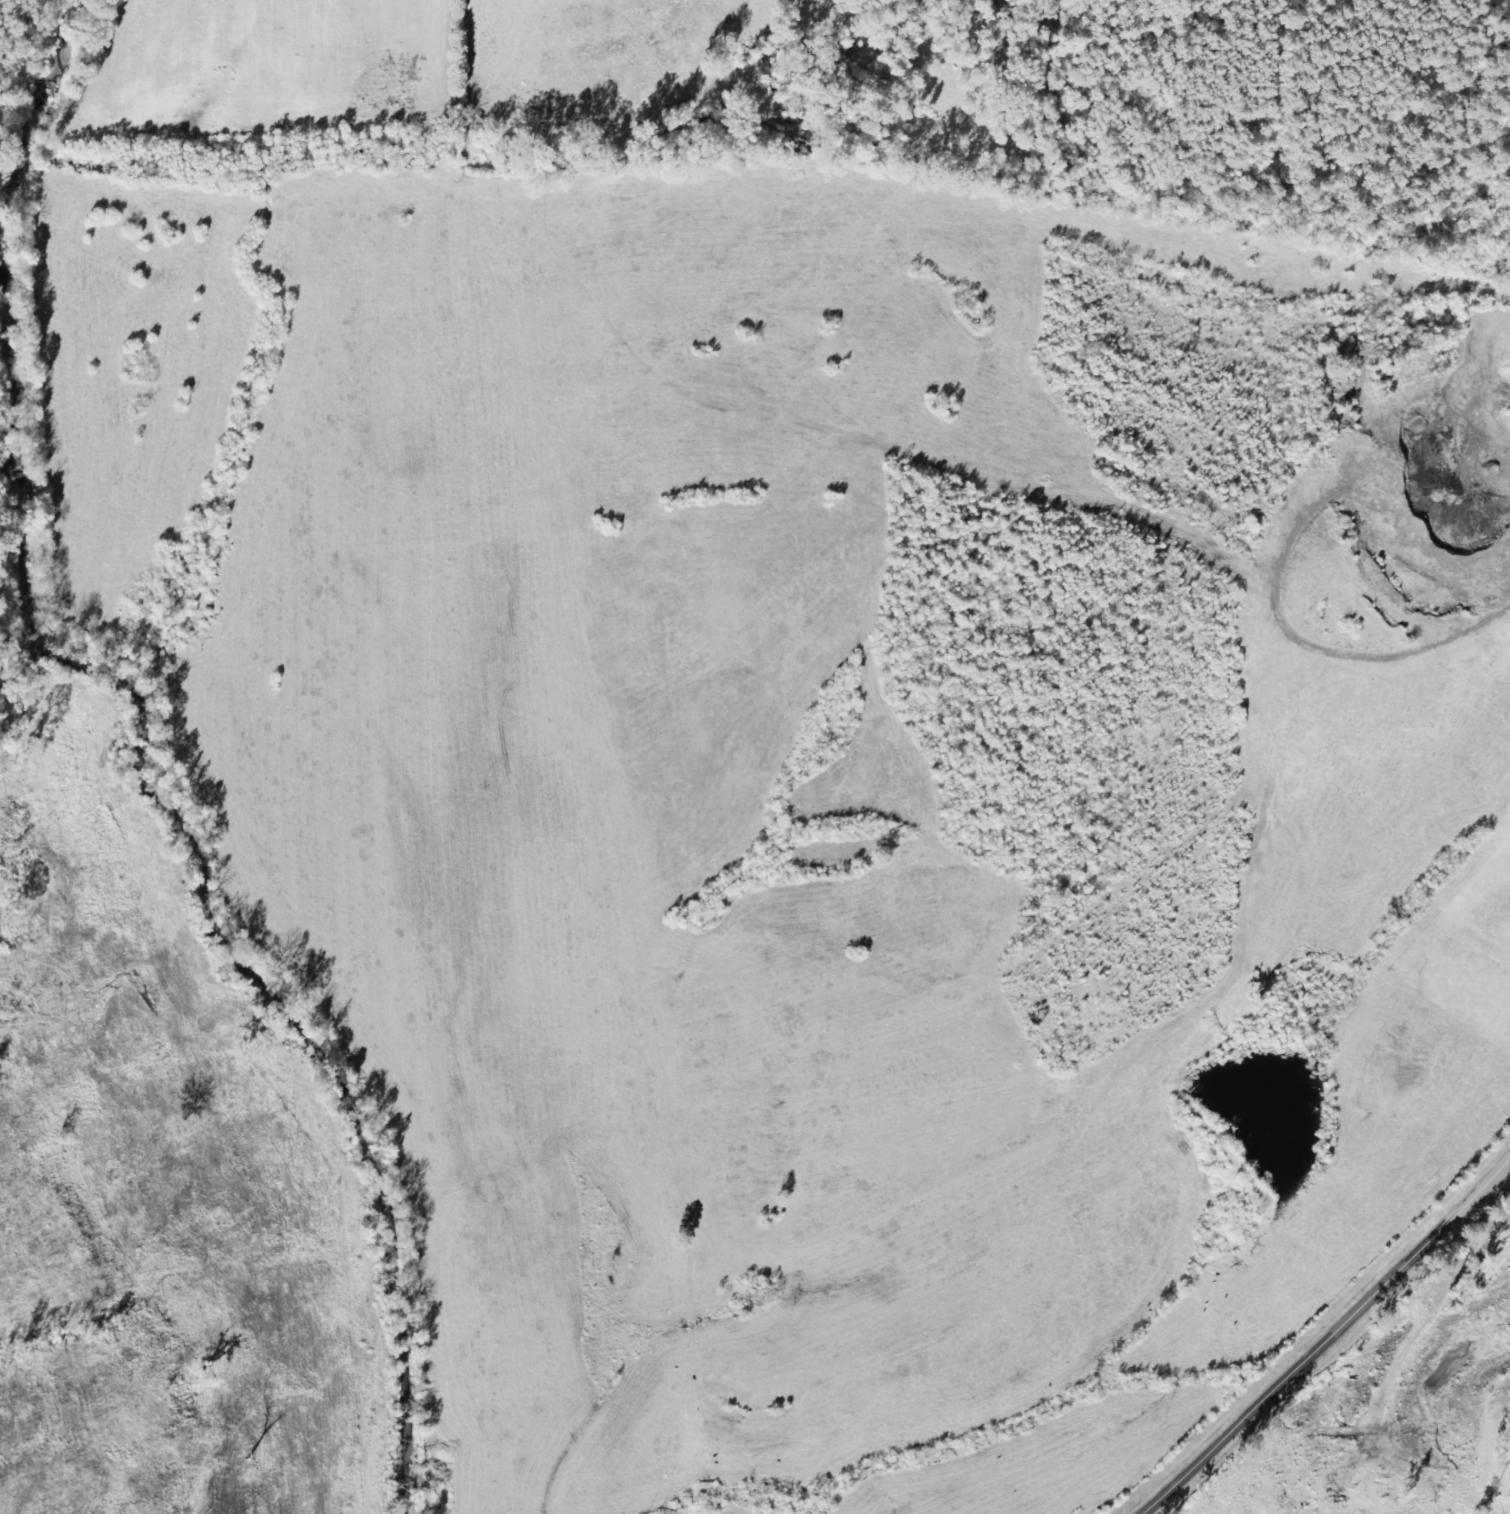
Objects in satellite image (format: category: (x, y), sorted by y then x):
road: (1329, 1337)

